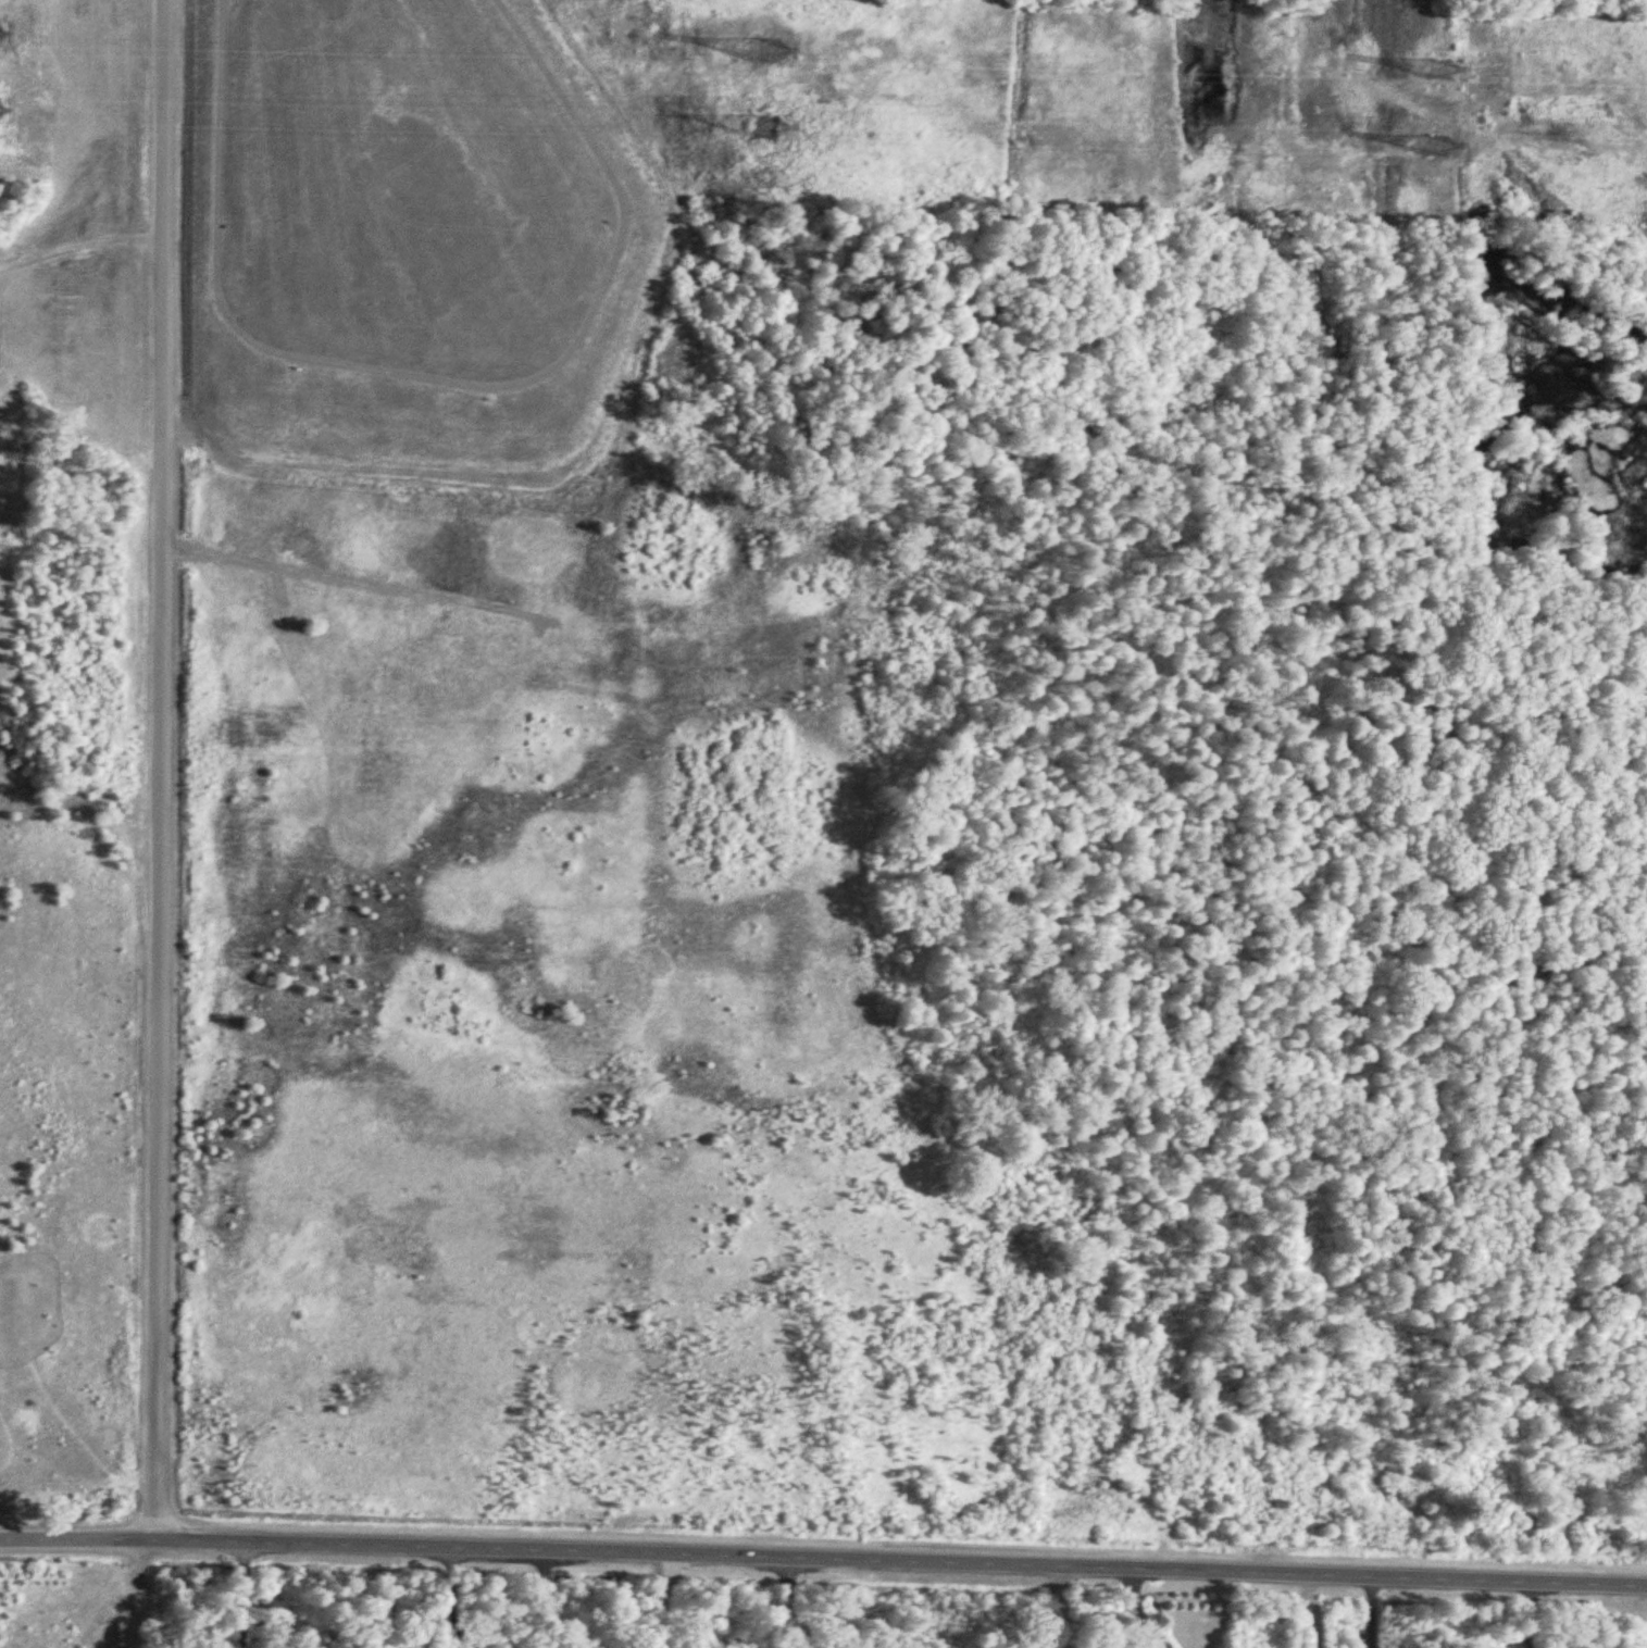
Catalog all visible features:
power tower: (768, 51)
power tower: (1438, 70)
power tower: (768, 129)
power tower: (1437, 149)
road: (423, 298)
road: (163, 770)
road: (78, 1539)
road: (901, 1562)
road: (240, 1595)
road: (449, 1600)
crop: (63, 1602)
road: (786, 1603)
road: (1051, 1608)
road: (1646, 1647)

